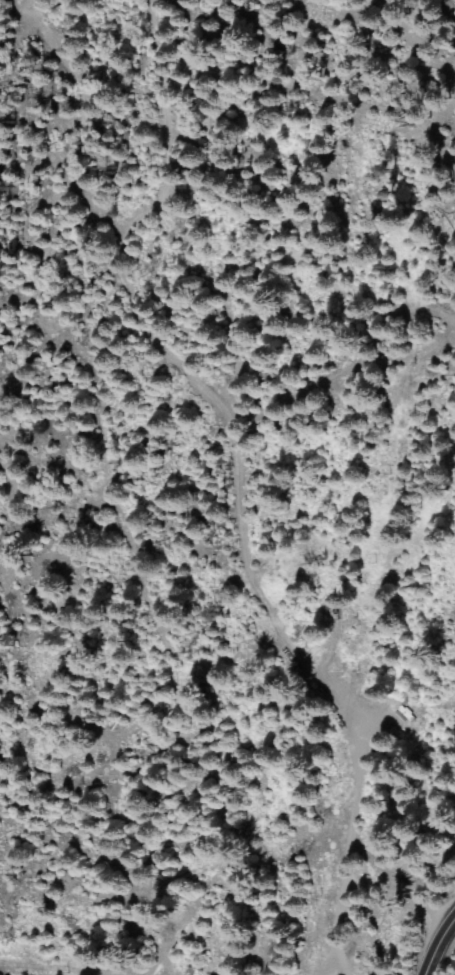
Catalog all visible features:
road: (433, 937)

